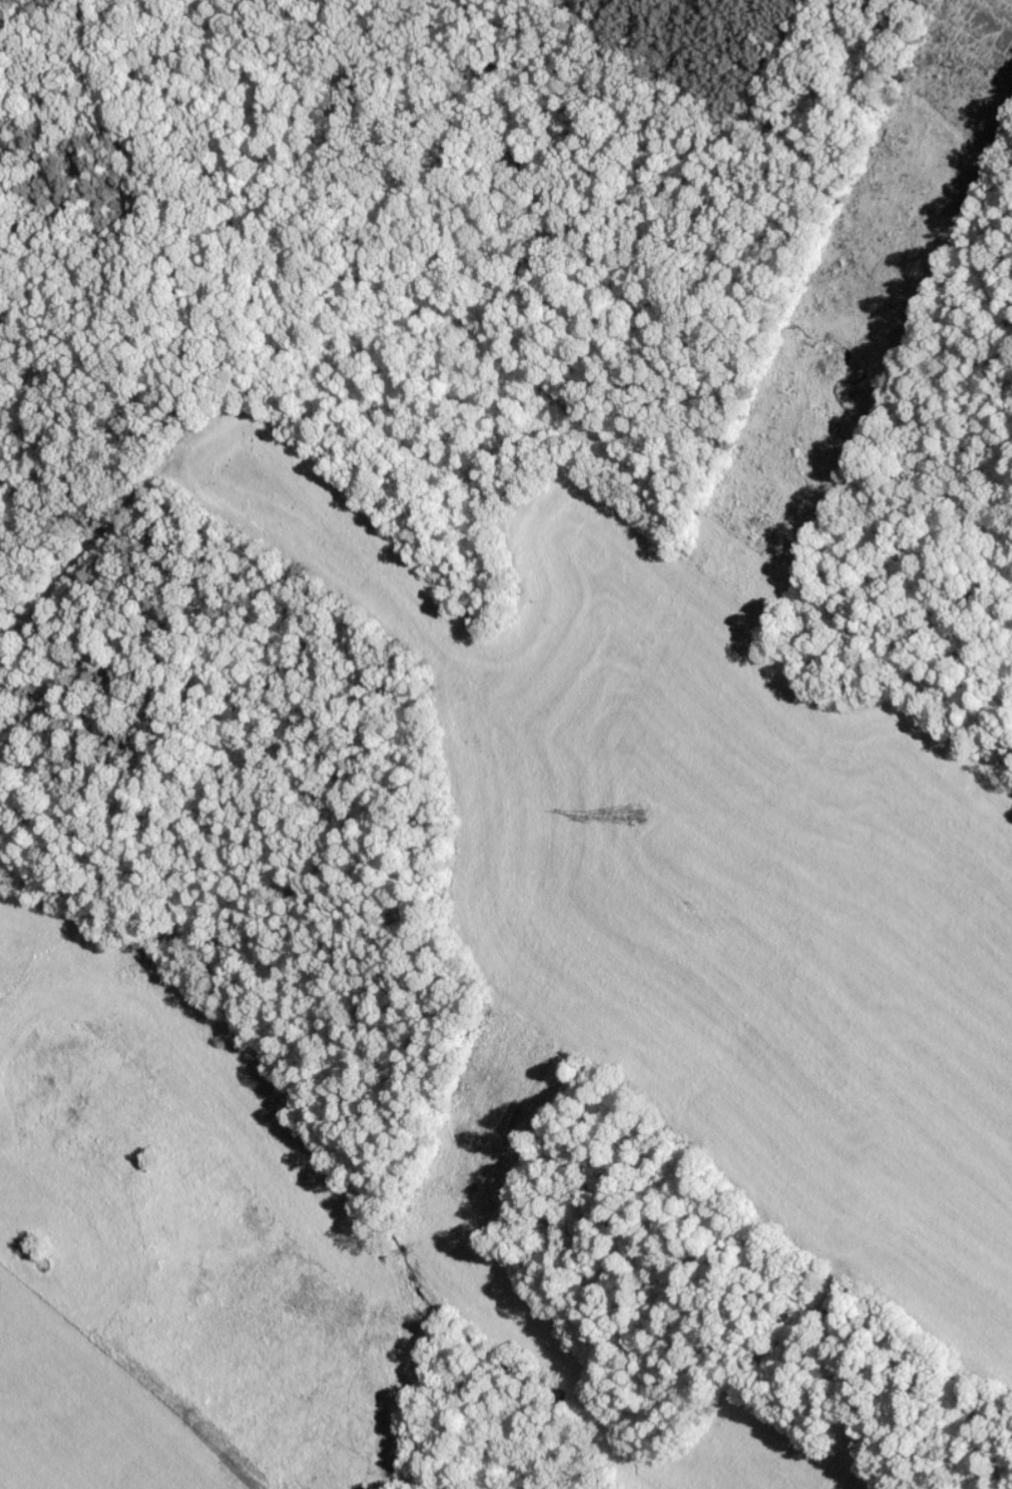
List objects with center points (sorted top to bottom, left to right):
power tower: (633, 815)

